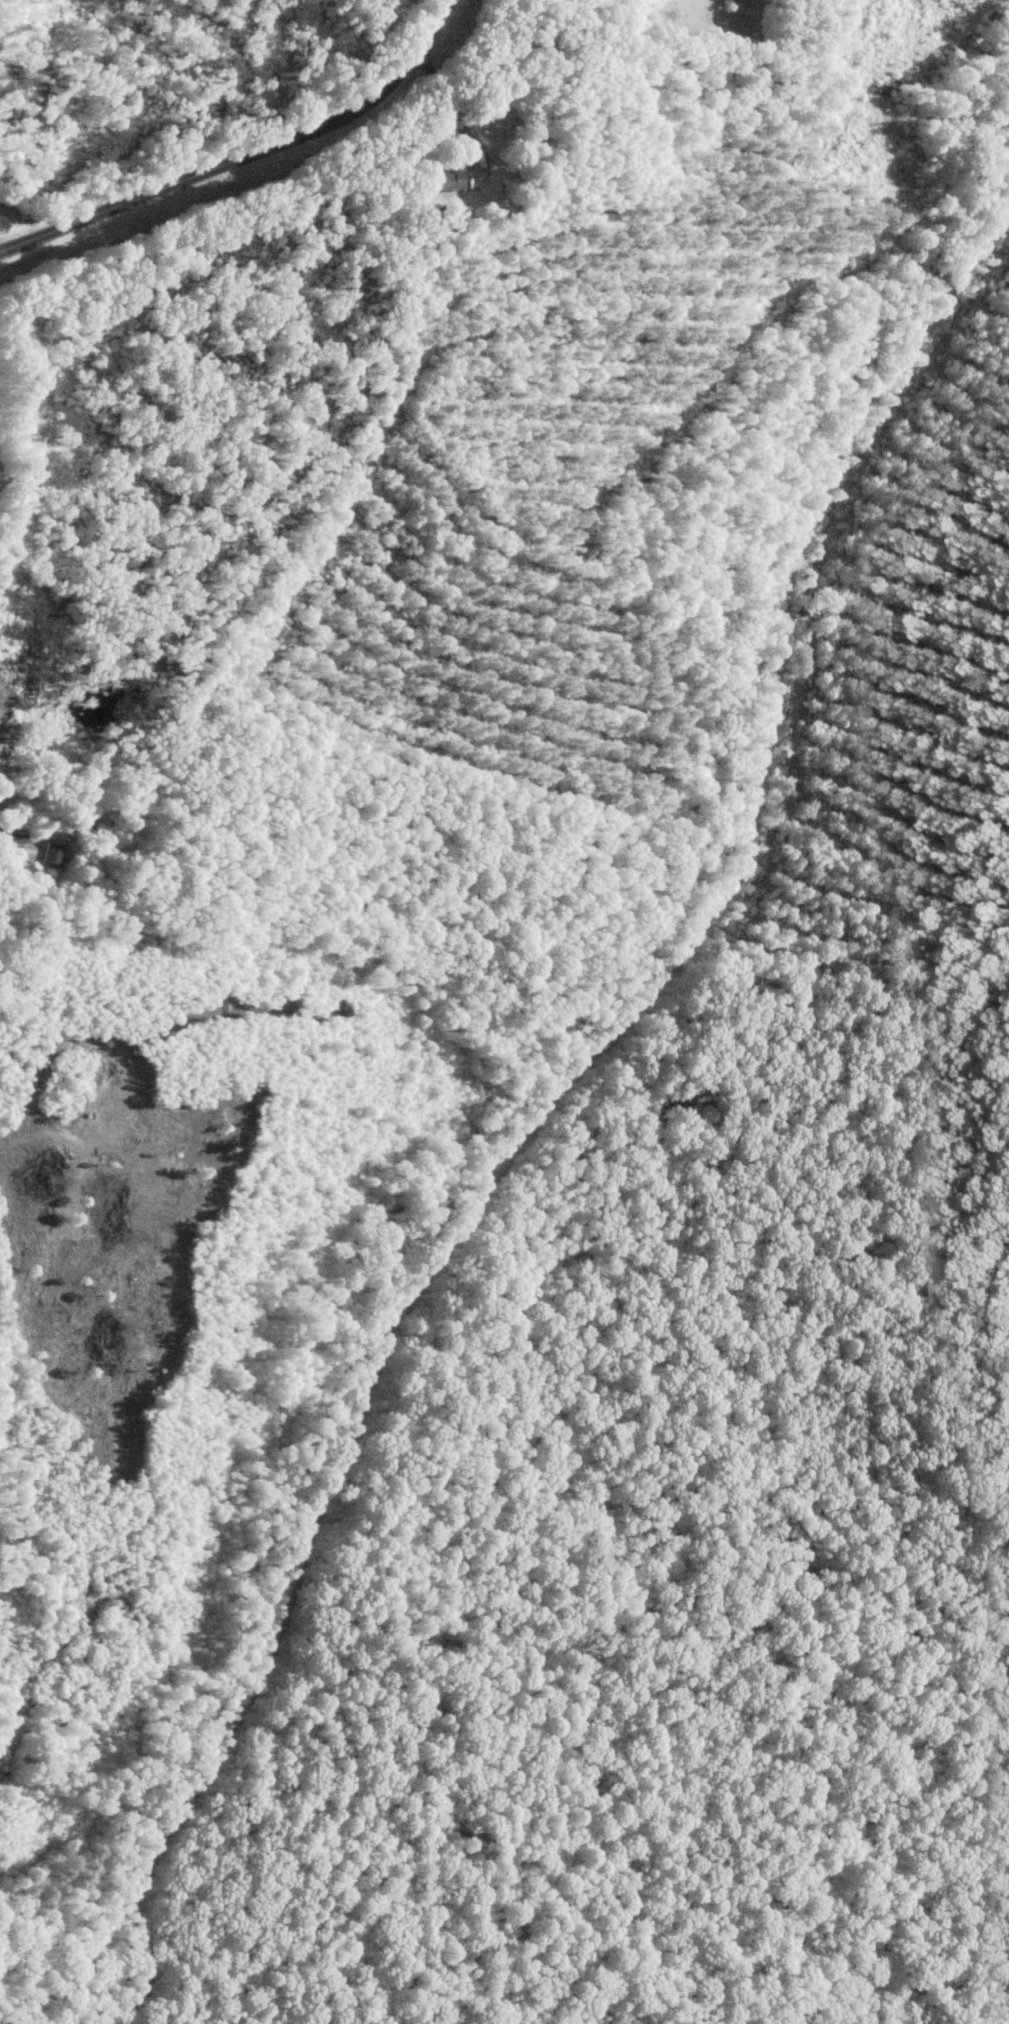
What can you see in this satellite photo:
road: (441, 89)
road: (247, 157)

